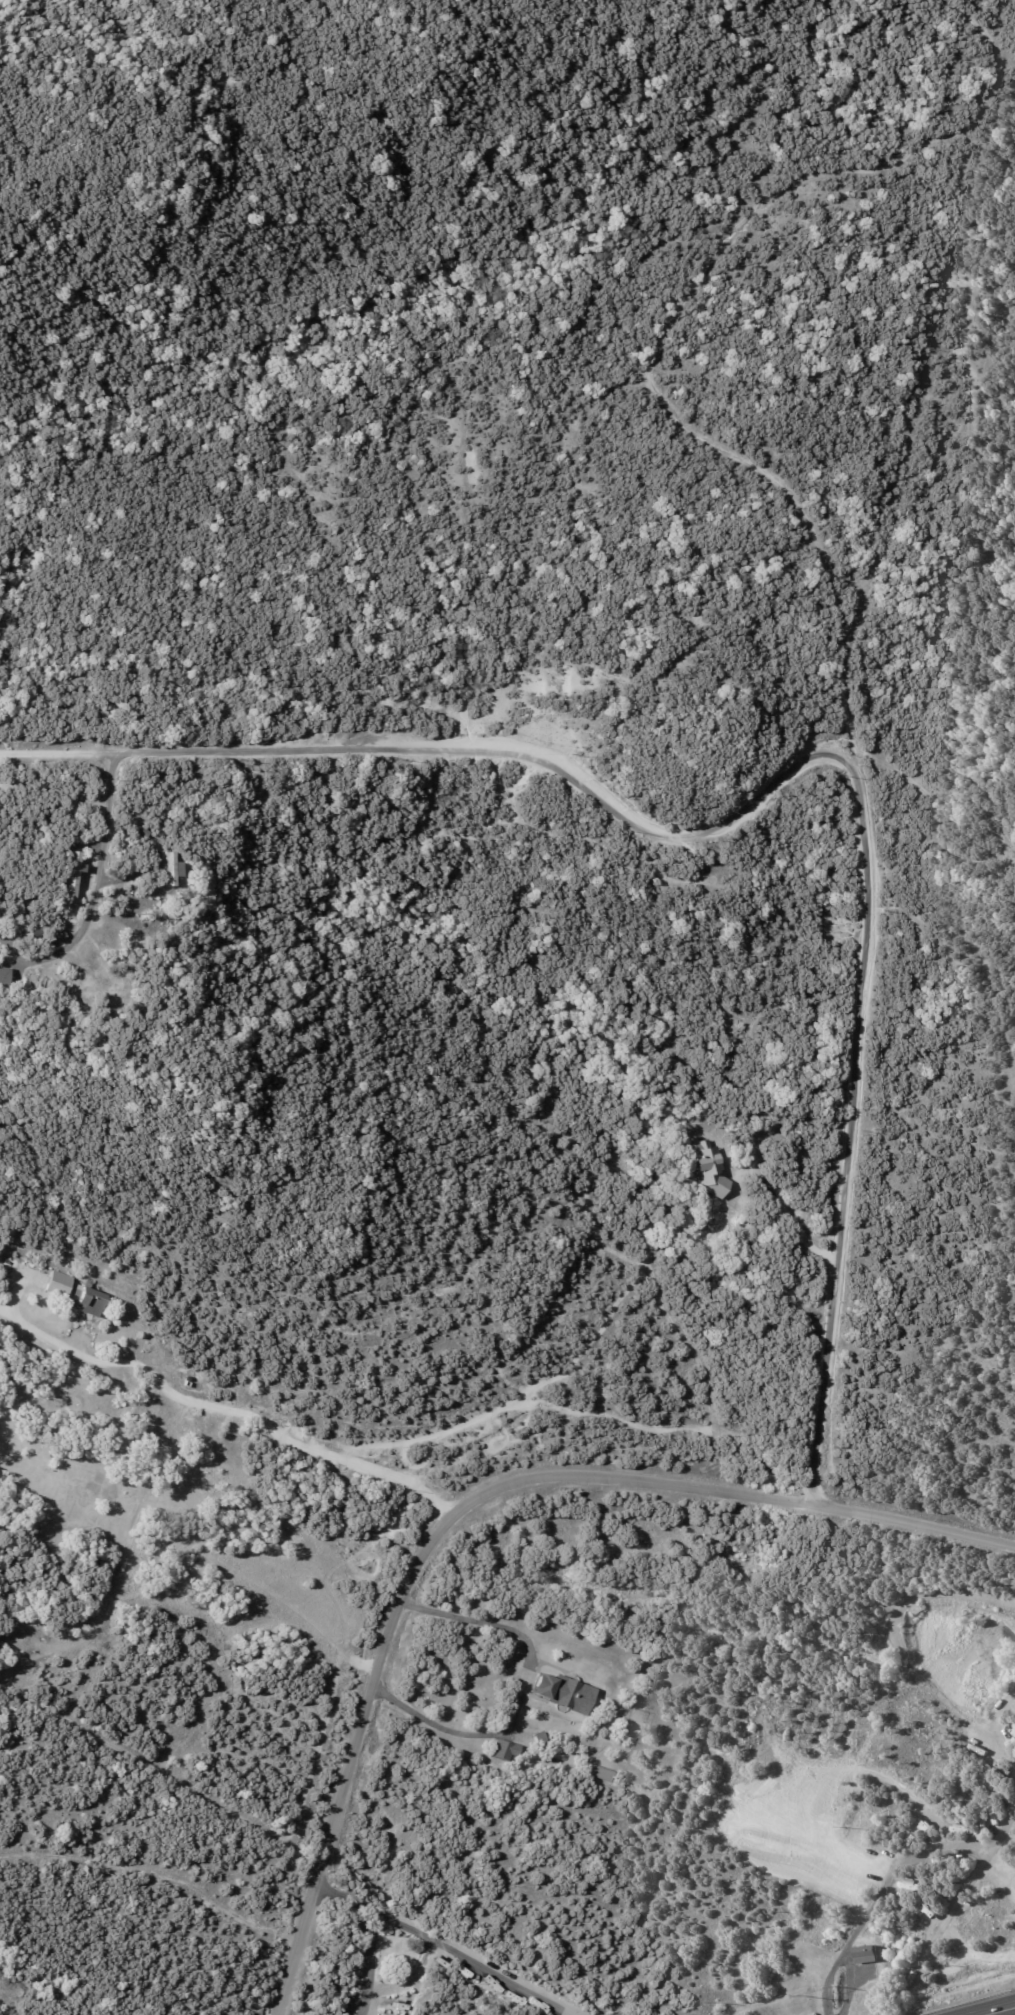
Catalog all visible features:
road: (61, 752)
building: (100, 770)
road: (747, 801)
building: (146, 834)
building: (175, 871)
building: (73, 876)
building: (62, 937)
building: (5, 978)
building: (776, 1136)
building: (713, 1168)
road: (791, 1219)
building: (55, 1273)
building: (89, 1301)
building: (16, 1326)
road: (224, 1410)
road: (470, 1501)
building: (545, 1685)
road: (519, 1690)
road: (996, 1729)
building: (541, 1737)
building: (507, 1748)
building: (602, 1774)
road: (891, 1880)
road: (374, 1930)
building: (869, 1956)
road: (473, 1961)
road: (569, 2009)
road: (1002, 2011)

